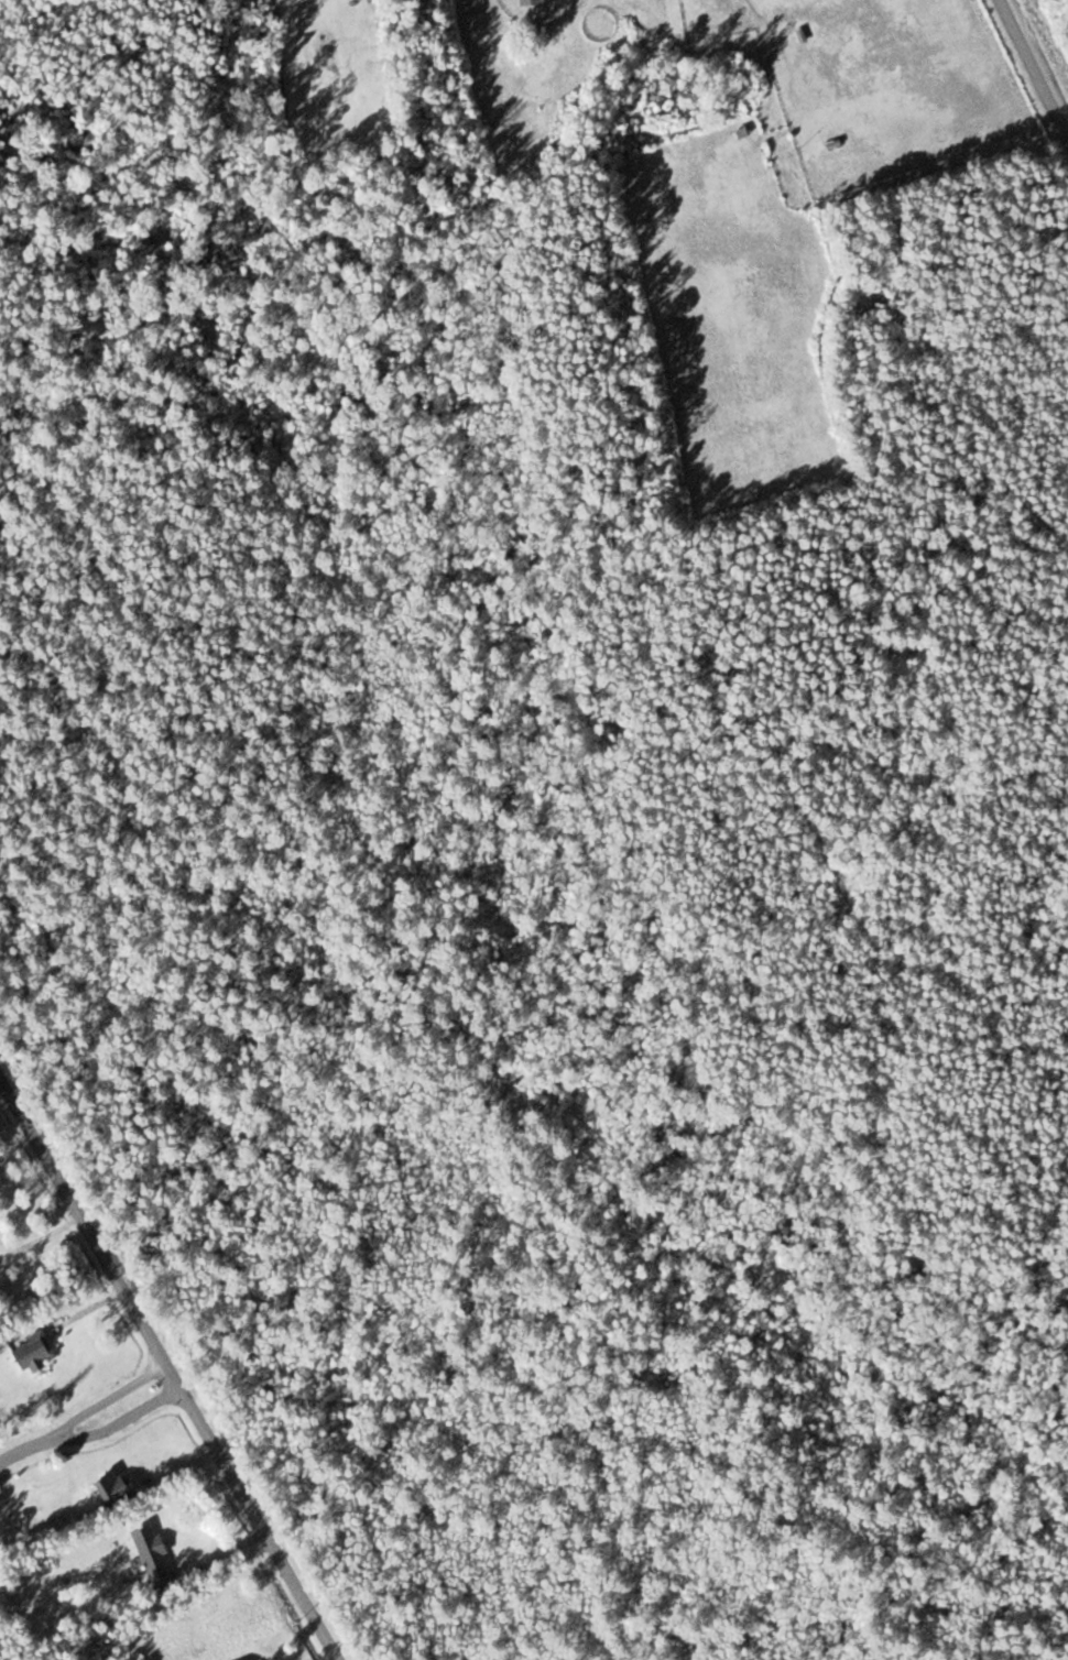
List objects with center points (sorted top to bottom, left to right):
road: (1032, 73)
building: (39, 1354)
road: (174, 1370)
building: (122, 1489)
building: (159, 1558)

